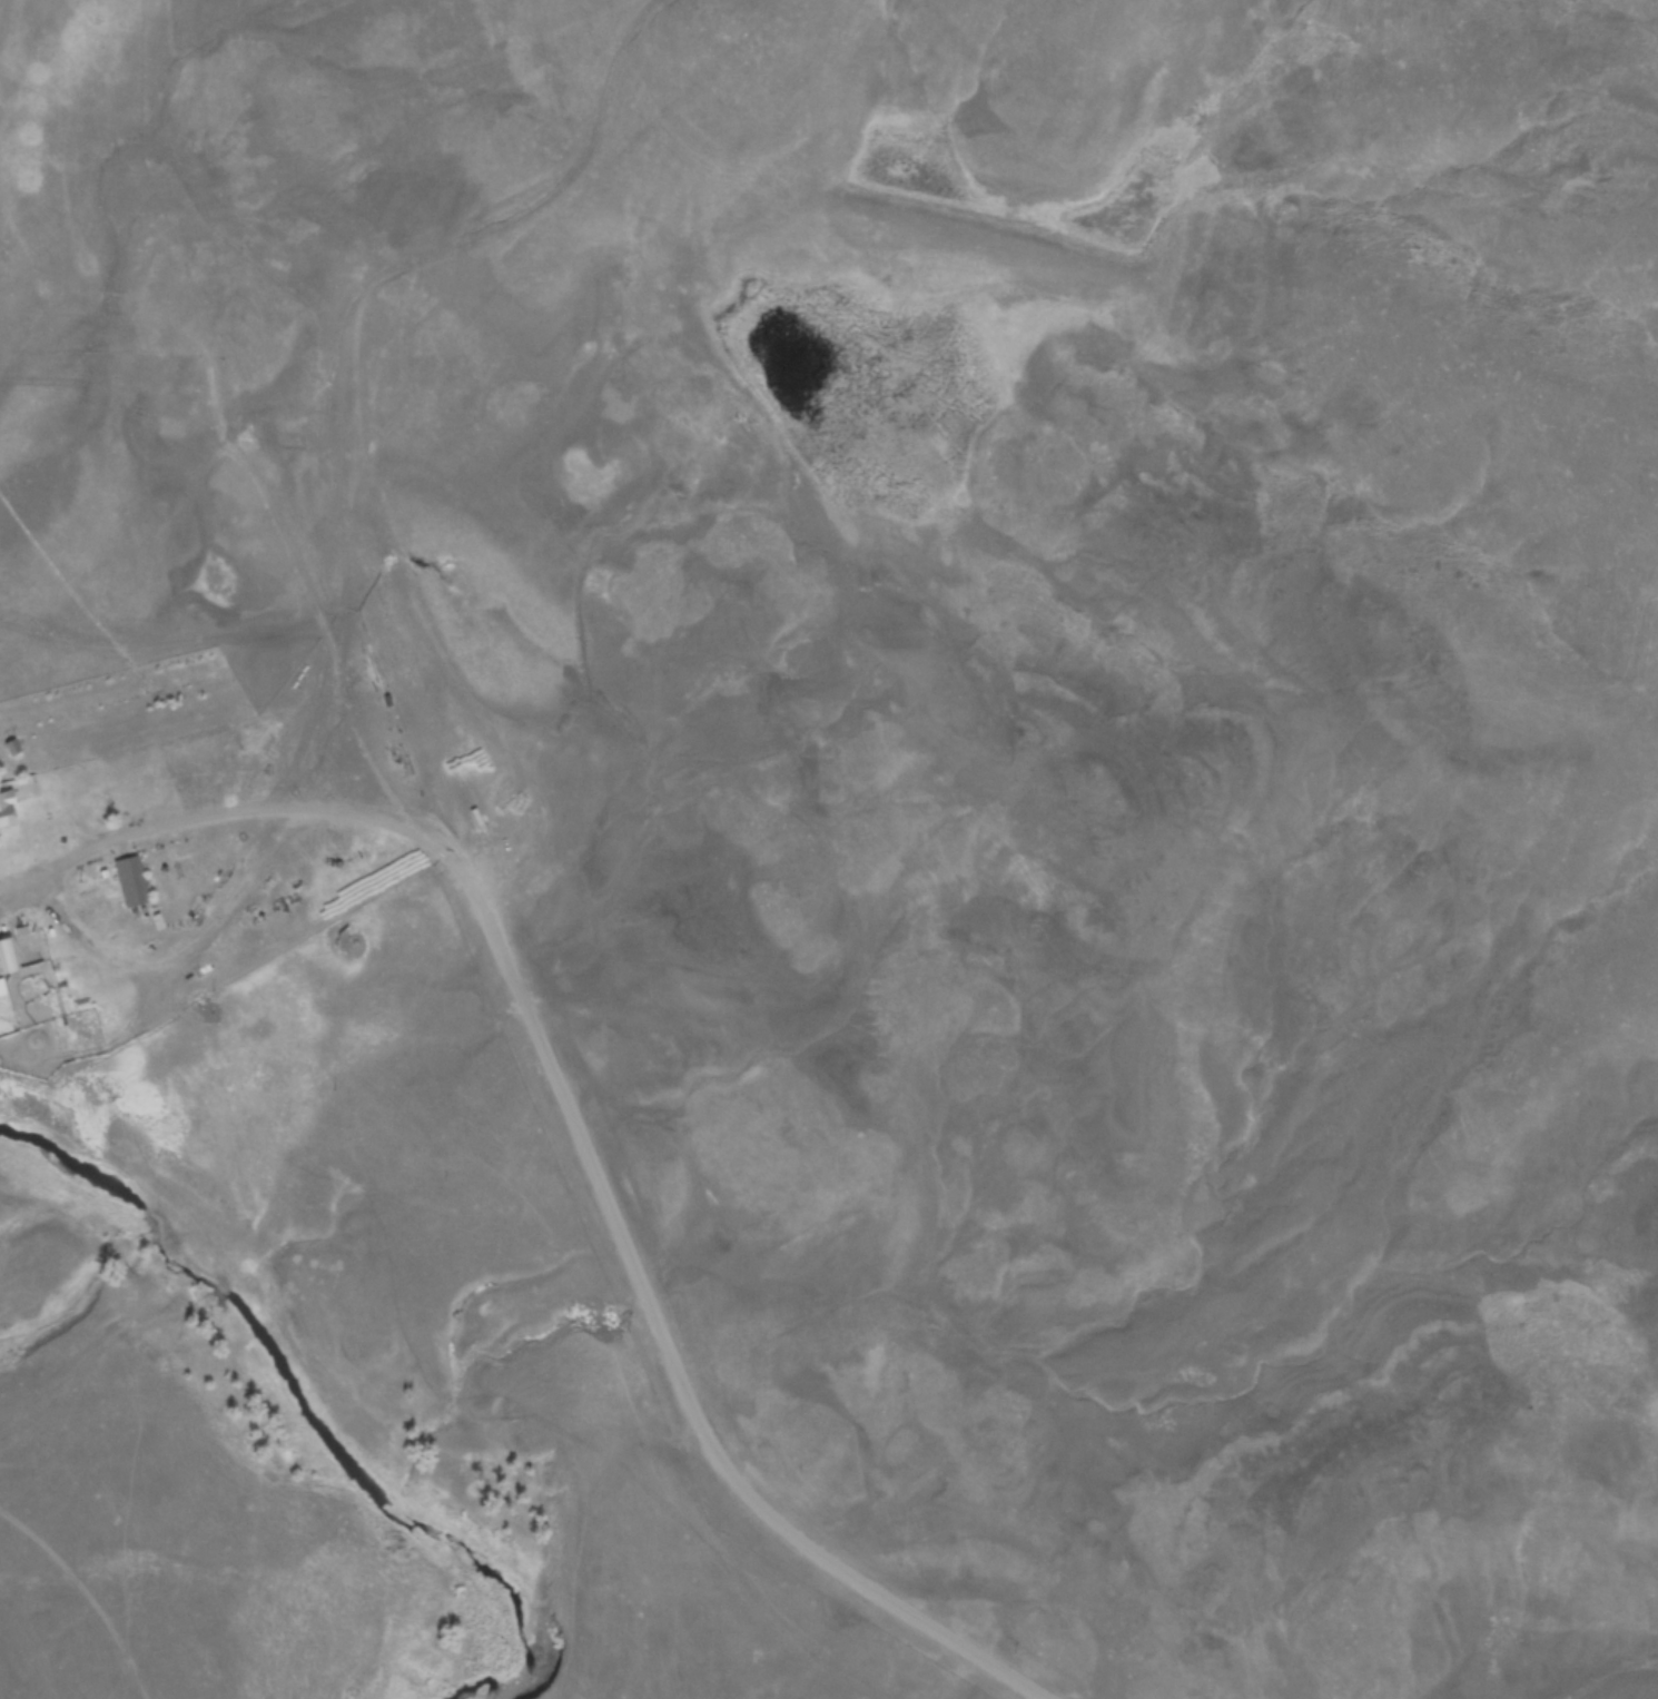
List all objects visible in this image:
road: (349, 366)
building: (4, 810)
road: (267, 819)
building: (127, 880)
building: (4, 958)
road: (665, 1344)

